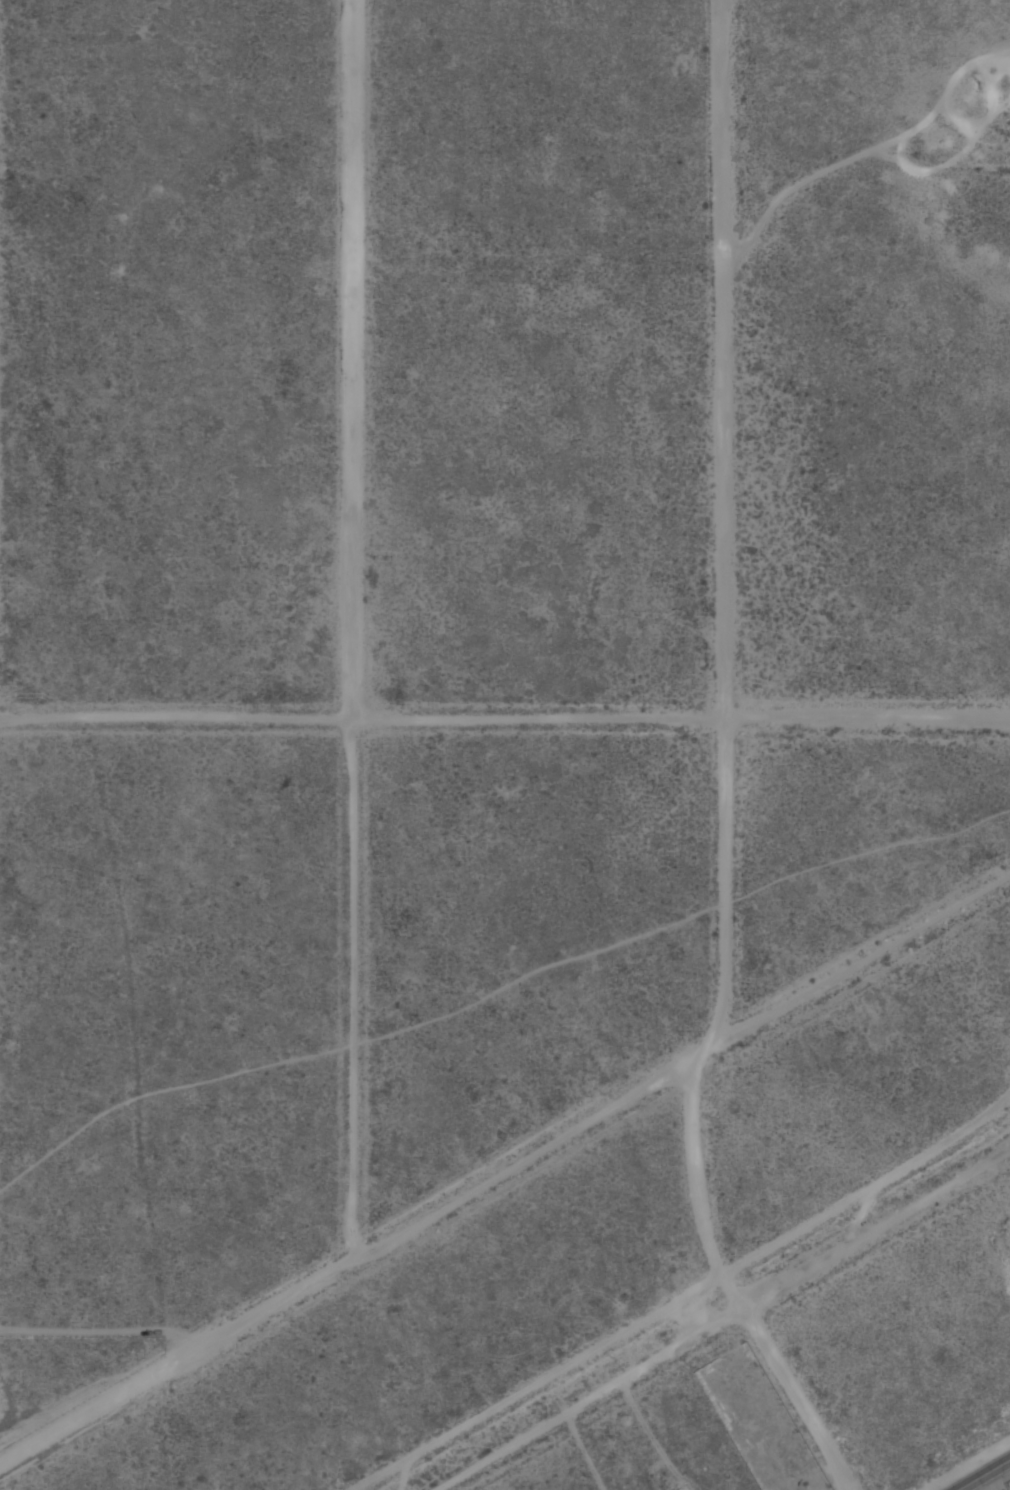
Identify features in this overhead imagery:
road: (723, 358)
road: (351, 359)
road: (504, 718)
road: (724, 878)
road: (352, 988)
road: (503, 1169)
road: (726, 1281)
road: (720, 1319)
road: (984, 1475)

